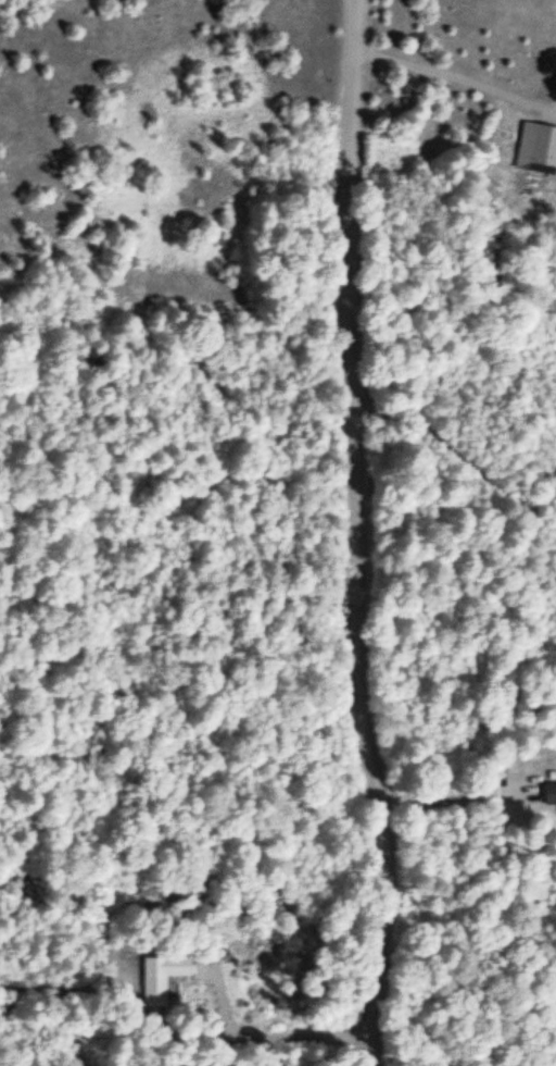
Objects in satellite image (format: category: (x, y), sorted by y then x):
road: (361, 534)
building: (551, 795)

